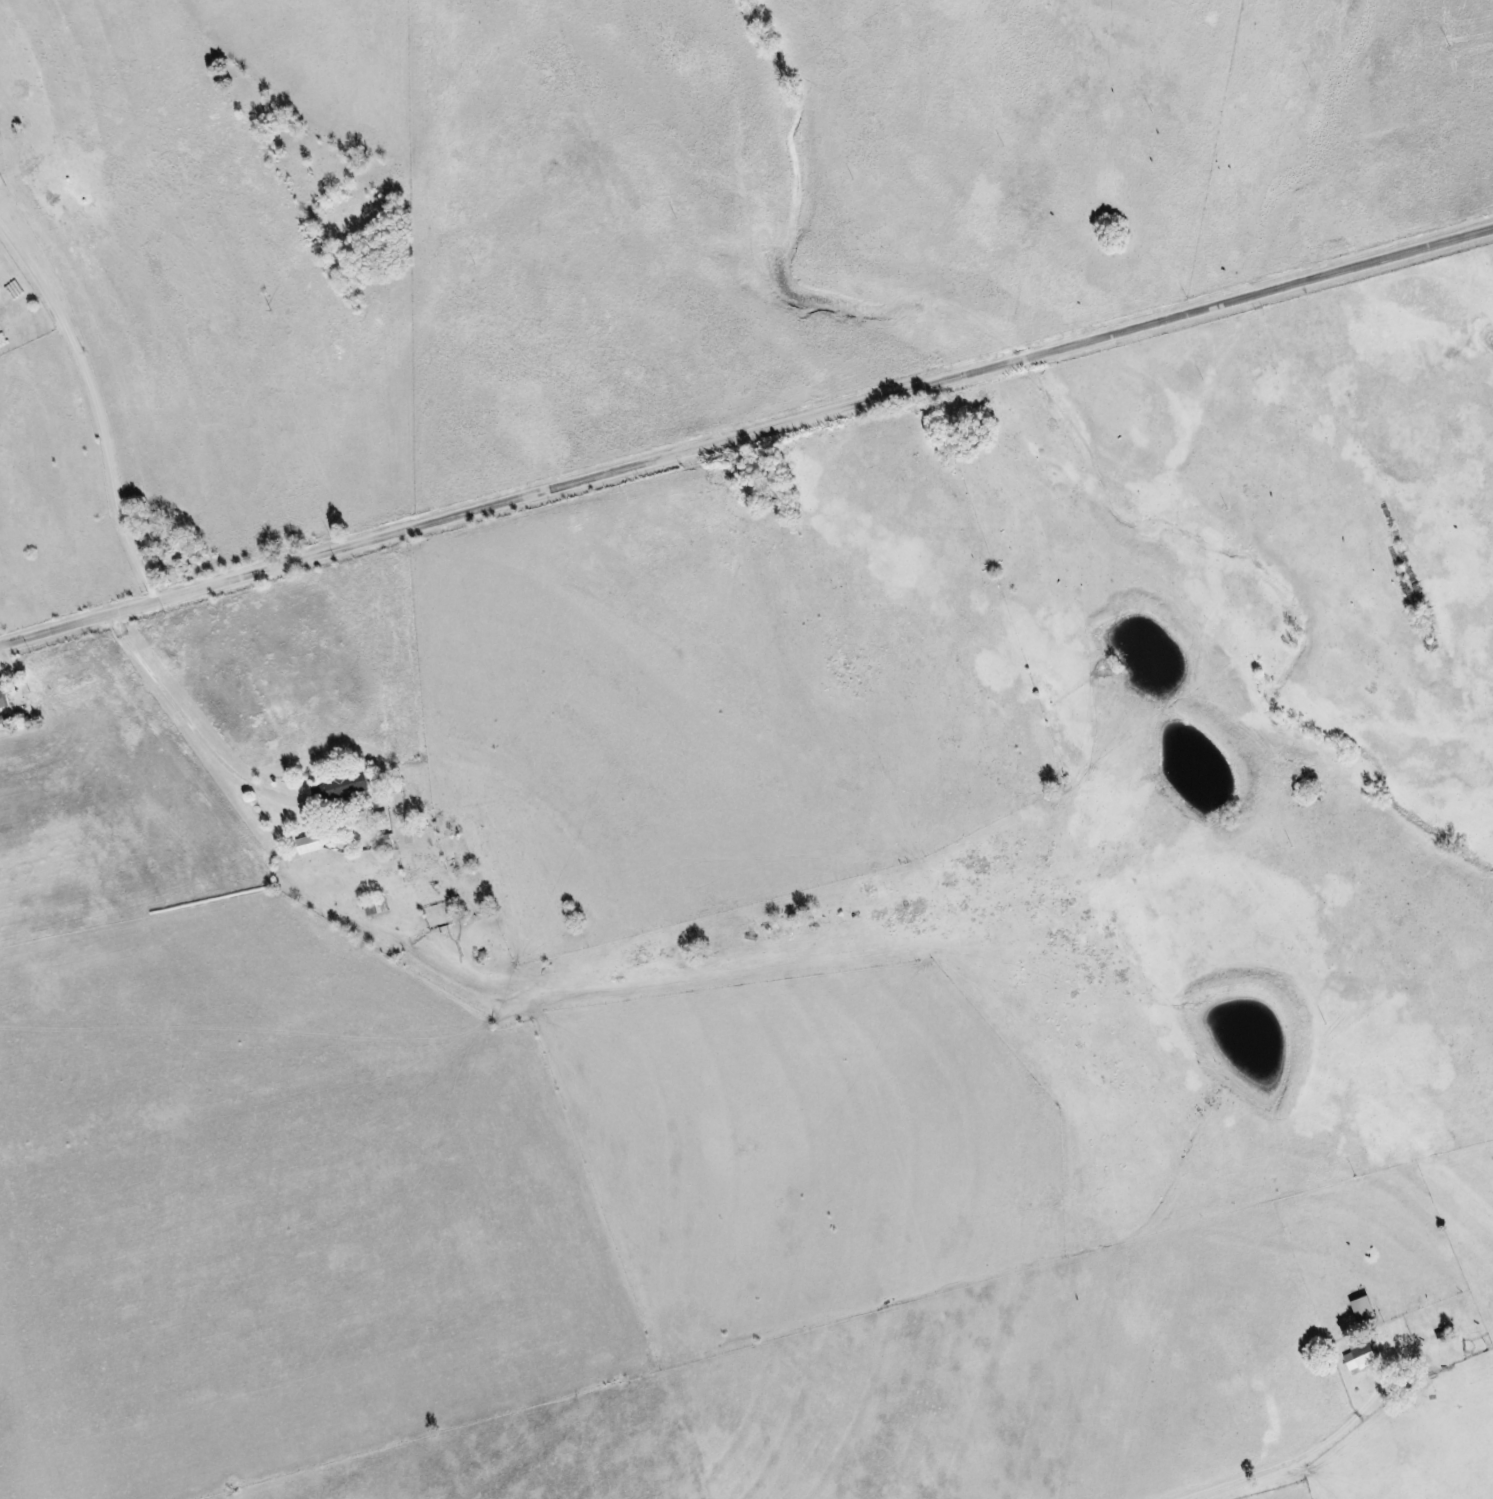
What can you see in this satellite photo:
road: (92, 406)
road: (745, 433)
building: (2, 700)
road: (198, 736)
building: (345, 787)
building: (309, 844)
building: (1363, 1309)
building: (1360, 1357)
road: (1295, 1457)

